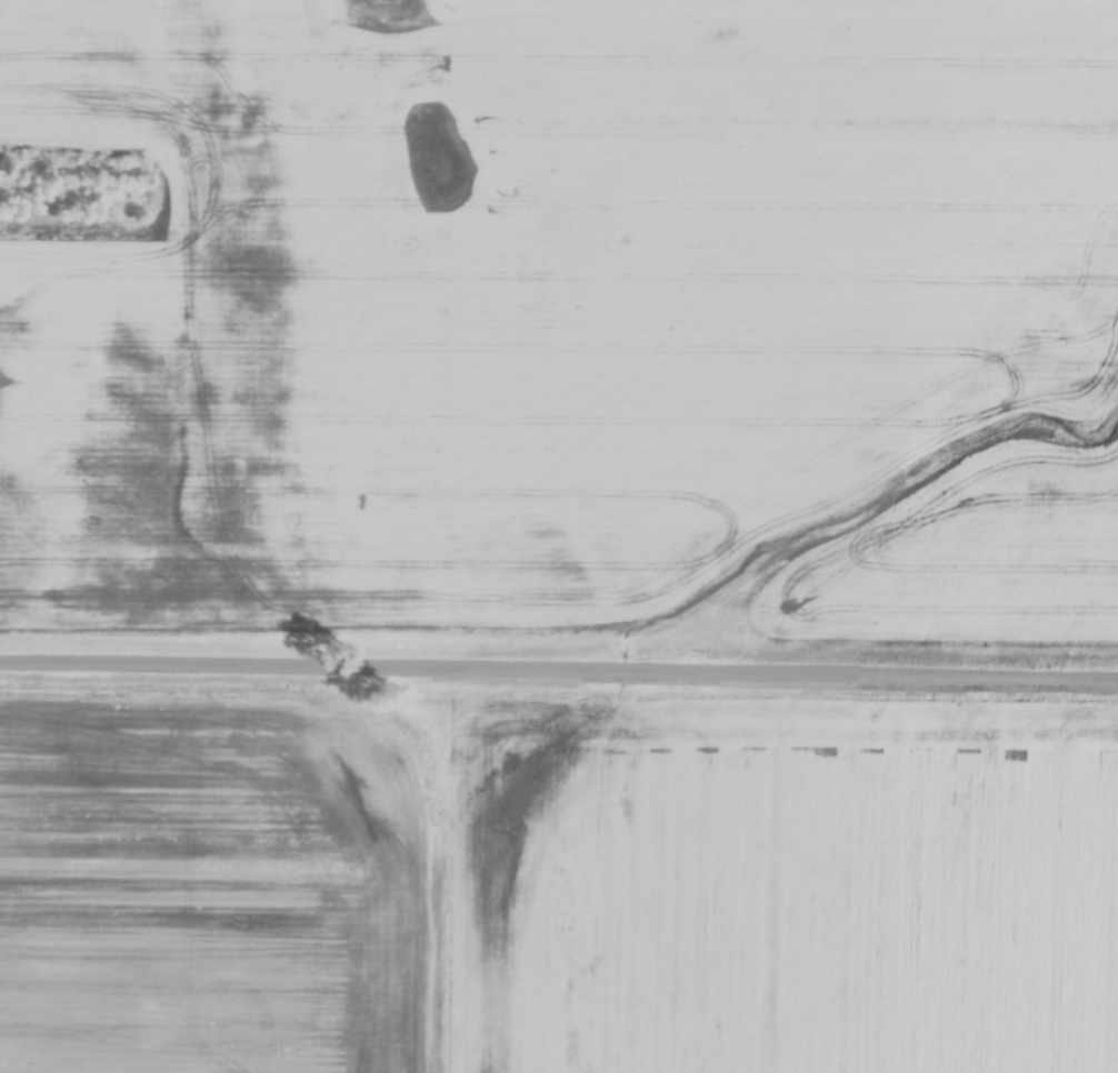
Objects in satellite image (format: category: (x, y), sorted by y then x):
road: (559, 679)

